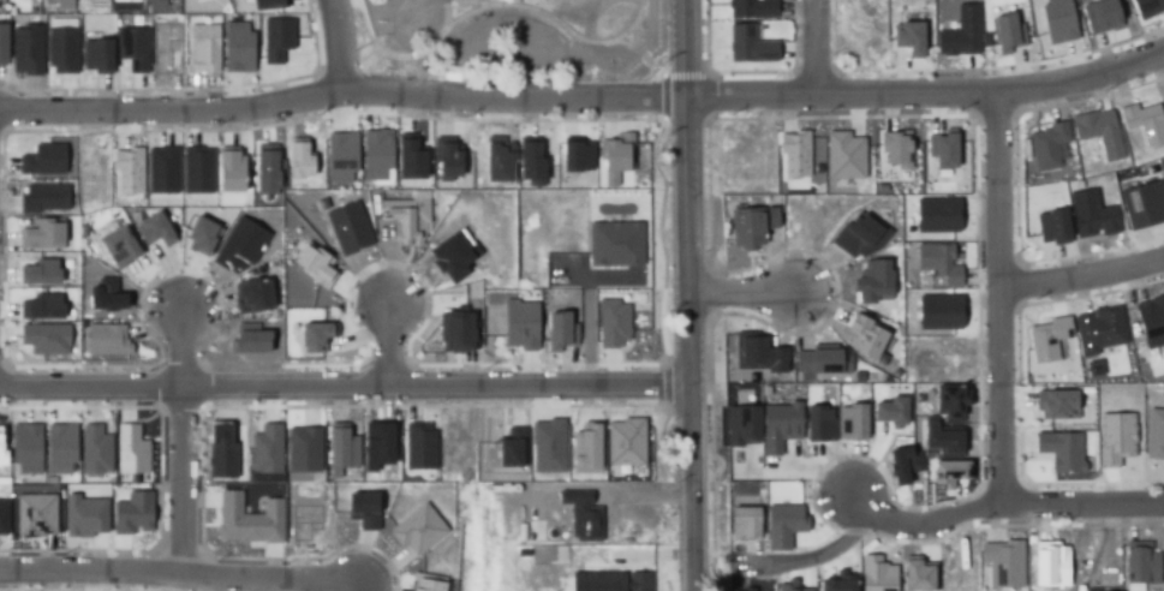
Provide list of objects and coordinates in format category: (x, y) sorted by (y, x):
building: (119, 0)
building: (269, 2)
road: (494, 5)
building: (1147, 5)
building: (157, 6)
road: (422, 7)
building: (754, 7)
building: (1100, 16)
road: (387, 19)
building: (1057, 20)
building: (1007, 31)
road: (579, 32)
road: (644, 32)
building: (959, 32)
building: (908, 37)
building: (276, 38)
park: (518, 40)
road: (342, 41)
road: (380, 43)
road: (820, 43)
building: (1, 44)
building: (750, 44)
building: (237, 47)
building: (132, 48)
building: (202, 48)
building: (26, 50)
building: (60, 50)
building: (95, 56)
road: (656, 56)
road: (583, 91)
building: (1163, 98)
building: (1145, 123)
building: (1097, 132)
building: (1045, 145)
building: (942, 148)
building: (894, 151)
building: (796, 153)
building: (377, 154)
building: (619, 154)
building: (575, 155)
building: (411, 156)
building: (841, 156)
building: (340, 157)
building: (298, 159)
building: (497, 159)
building: (43, 160)
building: (446, 160)
building: (529, 163)
building: (130, 169)
building: (197, 169)
building: (161, 171)
building: (231, 171)
building: (267, 171)
building: (90, 173)
building: (1163, 174)
building: (879, 187)
building: (41, 199)
building: (1141, 203)
building: (936, 214)
building: (1090, 214)
building: (407, 222)
building: (1051, 226)
building: (746, 227)
building: (347, 228)
building: (155, 231)
building: (40, 234)
building: (858, 237)
building: (199, 238)
building: (615, 244)
building: (240, 245)
building: (118, 247)
building: (453, 256)
building: (937, 261)
building: (312, 268)
building: (41, 271)
road: (692, 273)
road: (1084, 276)
building: (870, 282)
road: (746, 283)
building: (106, 295)
building: (253, 297)
road: (1002, 298)
building: (509, 305)
building: (42, 306)
building: (941, 310)
building: (1151, 322)
building: (610, 323)
building: (526, 326)
building: (511, 328)
building: (458, 329)
building: (557, 330)
building: (1097, 330)
building: (864, 335)
building: (315, 336)
building: (43, 339)
building: (251, 339)
road: (389, 339)
building: (105, 340)
building: (1045, 340)
road: (184, 342)
building: (754, 353)
building: (819, 359)
road: (347, 381)
building: (951, 401)
building: (1056, 404)
building: (891, 411)
building: (850, 422)
building: (740, 424)
building: (816, 424)
building: (778, 426)
building: (1154, 435)
building: (1111, 438)
building: (937, 440)
building: (622, 443)
building: (1, 444)
building: (377, 444)
building: (418, 446)
building: (59, 447)
building: (341, 447)
building: (544, 447)
building: (25, 448)
building: (583, 448)
building: (95, 449)
building: (265, 449)
building: (303, 449)
building: (509, 449)
building: (130, 450)
building: (1059, 452)
building: (220, 454)
building: (903, 465)
road: (796, 470)
building: (949, 470)
road: (185, 480)
road: (998, 506)
building: (363, 509)
building: (133, 512)
building: (580, 513)
building: (34, 515)
building: (83, 515)
building: (2, 517)
building: (247, 521)
building: (747, 523)
building: (782, 524)
building: (416, 530)
building: (533, 530)
road: (811, 559)
building: (1002, 563)
building: (1051, 566)
building: (1142, 566)
road: (696, 568)
building: (915, 574)
building: (875, 575)
road: (179, 578)
building: (425, 583)
building: (592, 583)
building: (637, 583)
building: (838, 584)
building: (788, 587)
building: (748, 589)

